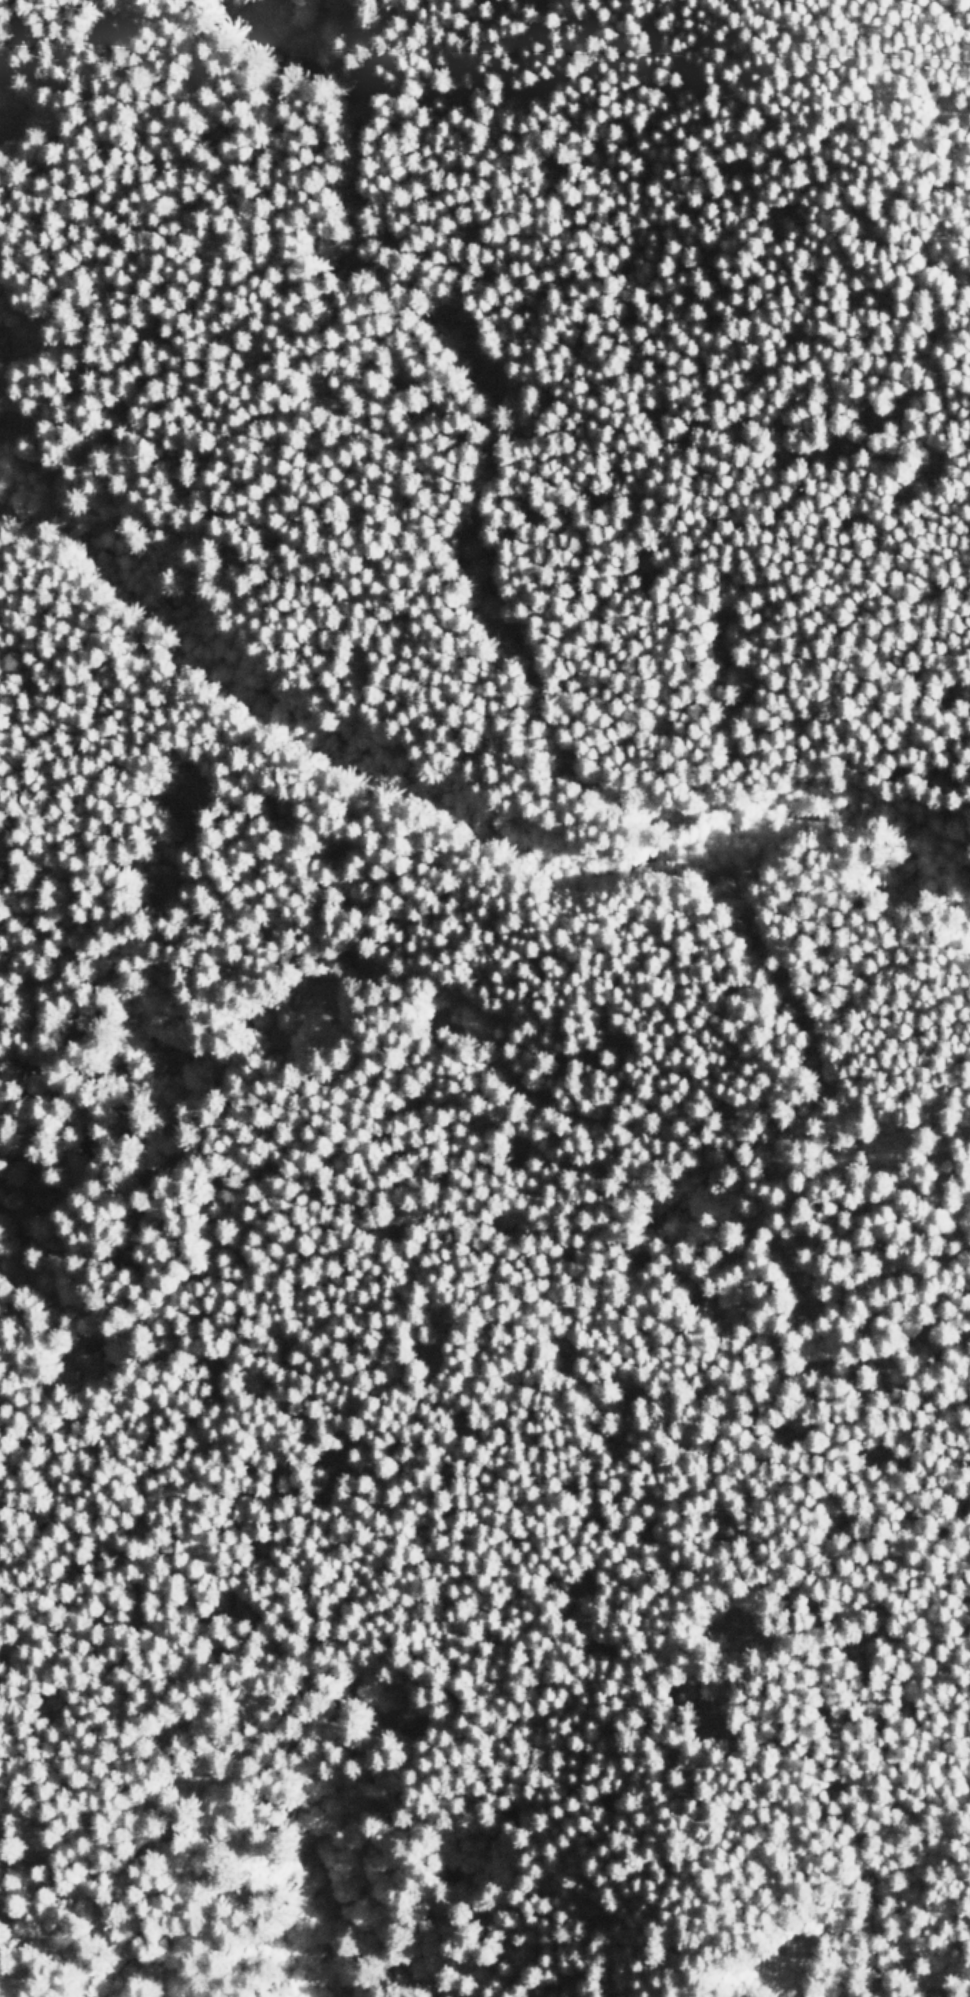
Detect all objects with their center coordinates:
road: (441, 816)

